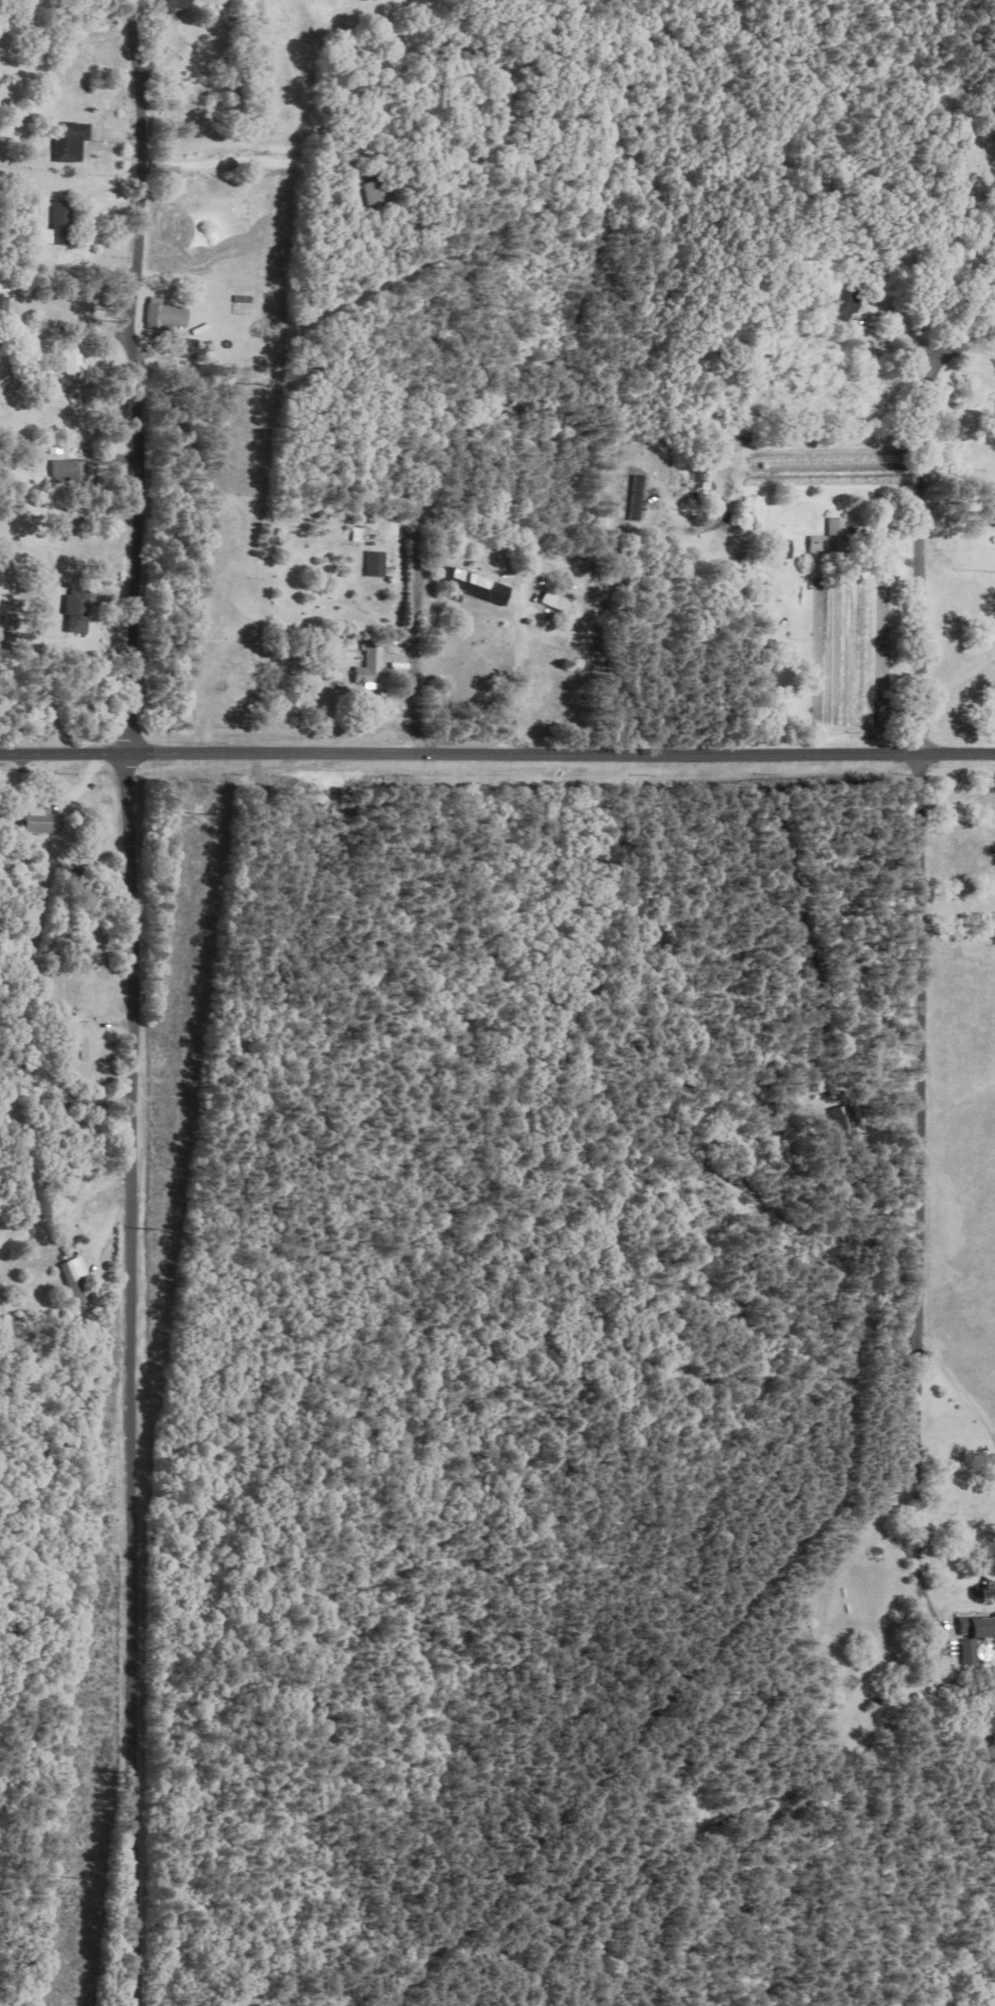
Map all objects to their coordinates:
building: (181, 4)
building: (72, 141)
road: (227, 164)
building: (371, 191)
building: (60, 223)
building: (4, 284)
building: (846, 303)
building: (166, 314)
road: (969, 345)
building: (75, 361)
road: (126, 376)
building: (71, 469)
road: (929, 506)
building: (994, 510)
building: (833, 539)
building: (786, 549)
building: (376, 562)
building: (476, 585)
building: (768, 595)
building: (555, 600)
building: (8, 609)
building: (78, 610)
building: (372, 665)
road: (522, 671)
road: (497, 754)
building: (34, 820)
building: (83, 1040)
building: (847, 1123)
road: (924, 1153)
building: (75, 1279)
road: (954, 1376)
road: (133, 1379)
road: (925, 1635)
building: (975, 1635)

